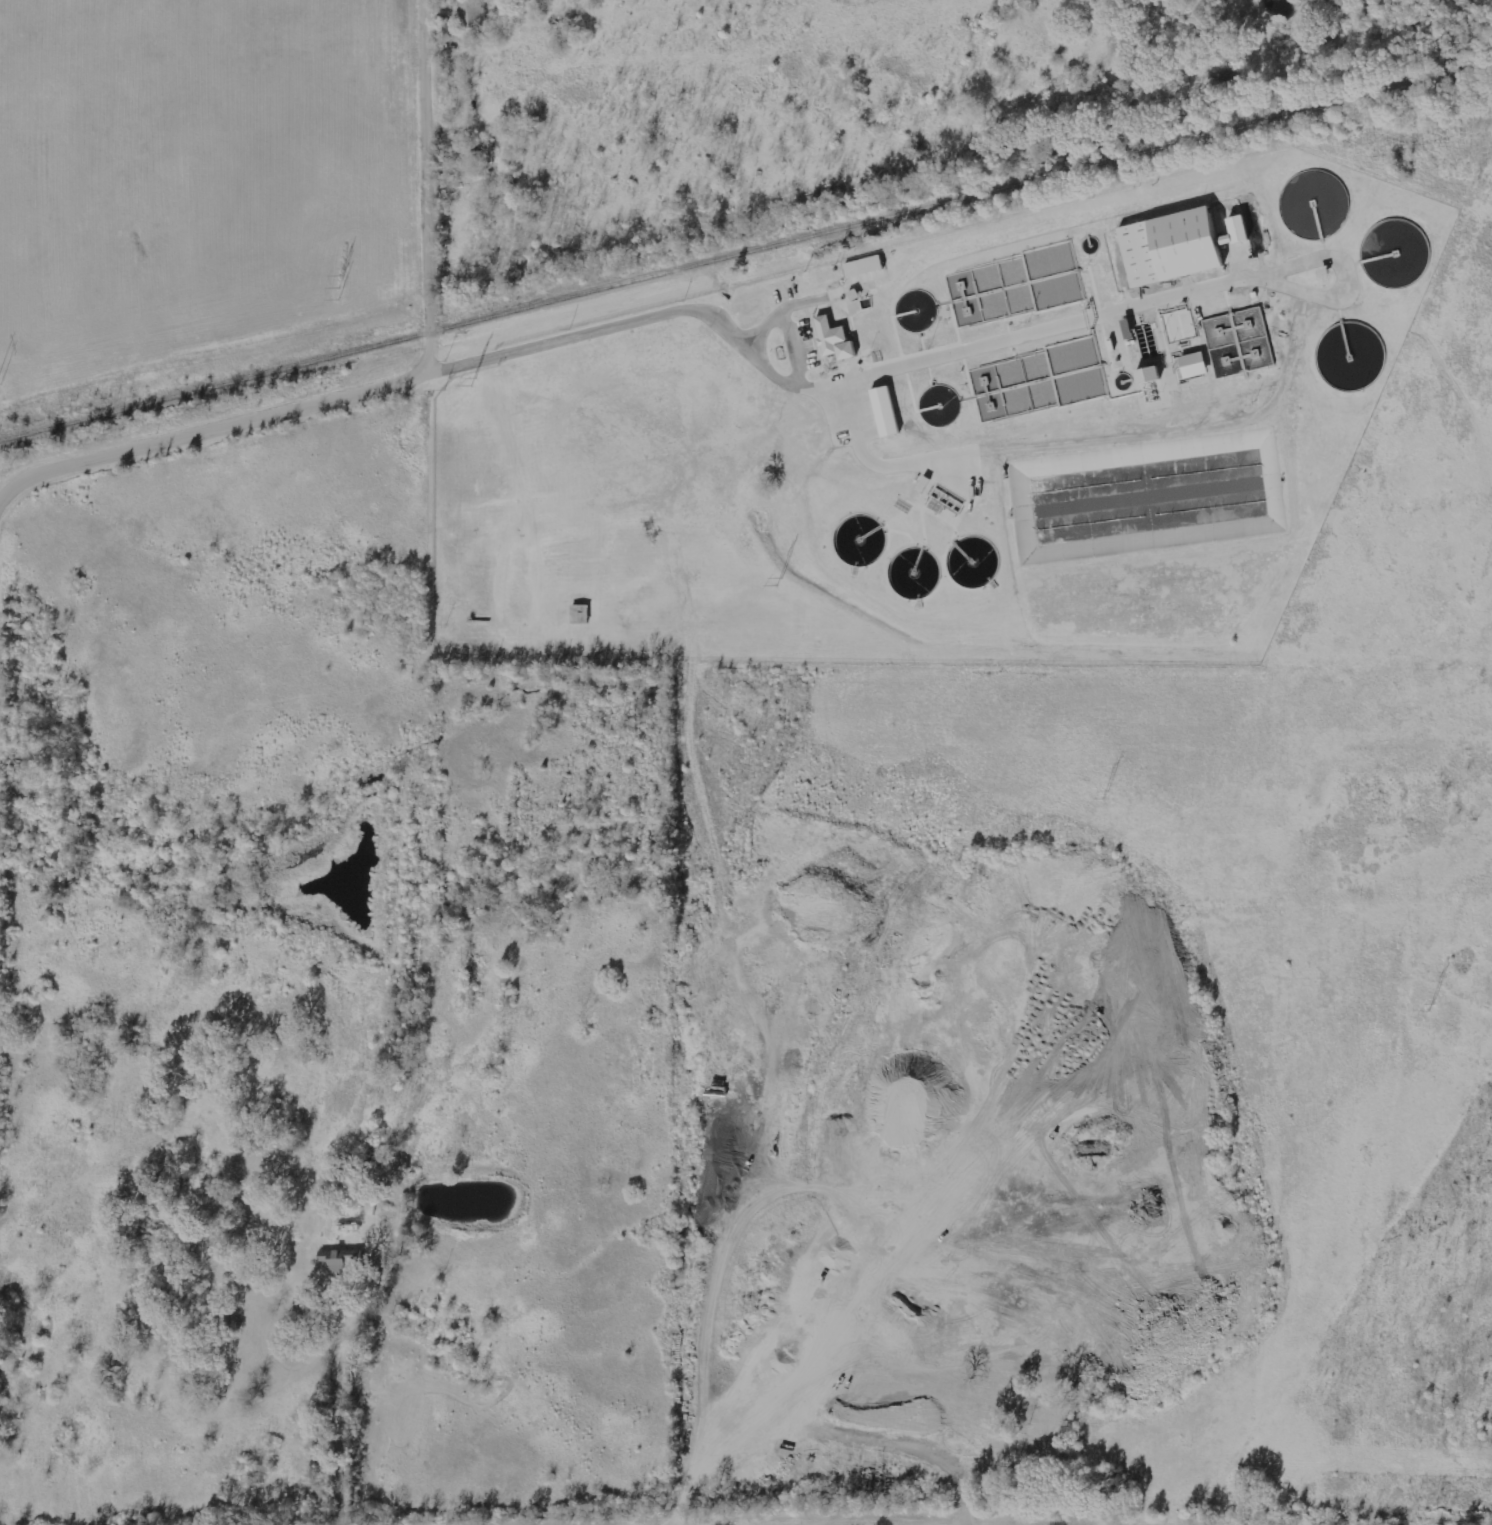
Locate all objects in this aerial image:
road: (430, 167)
building: (1238, 228)
building: (1256, 232)
building: (1172, 246)
railway: (746, 254)
building: (864, 266)
building: (854, 294)
building: (752, 310)
road: (640, 314)
building: (1179, 323)
building: (835, 339)
road: (425, 355)
building: (1191, 365)
building: (1148, 374)
building: (885, 411)
wastewater plant: (945, 438)
building: (330, 1255)

